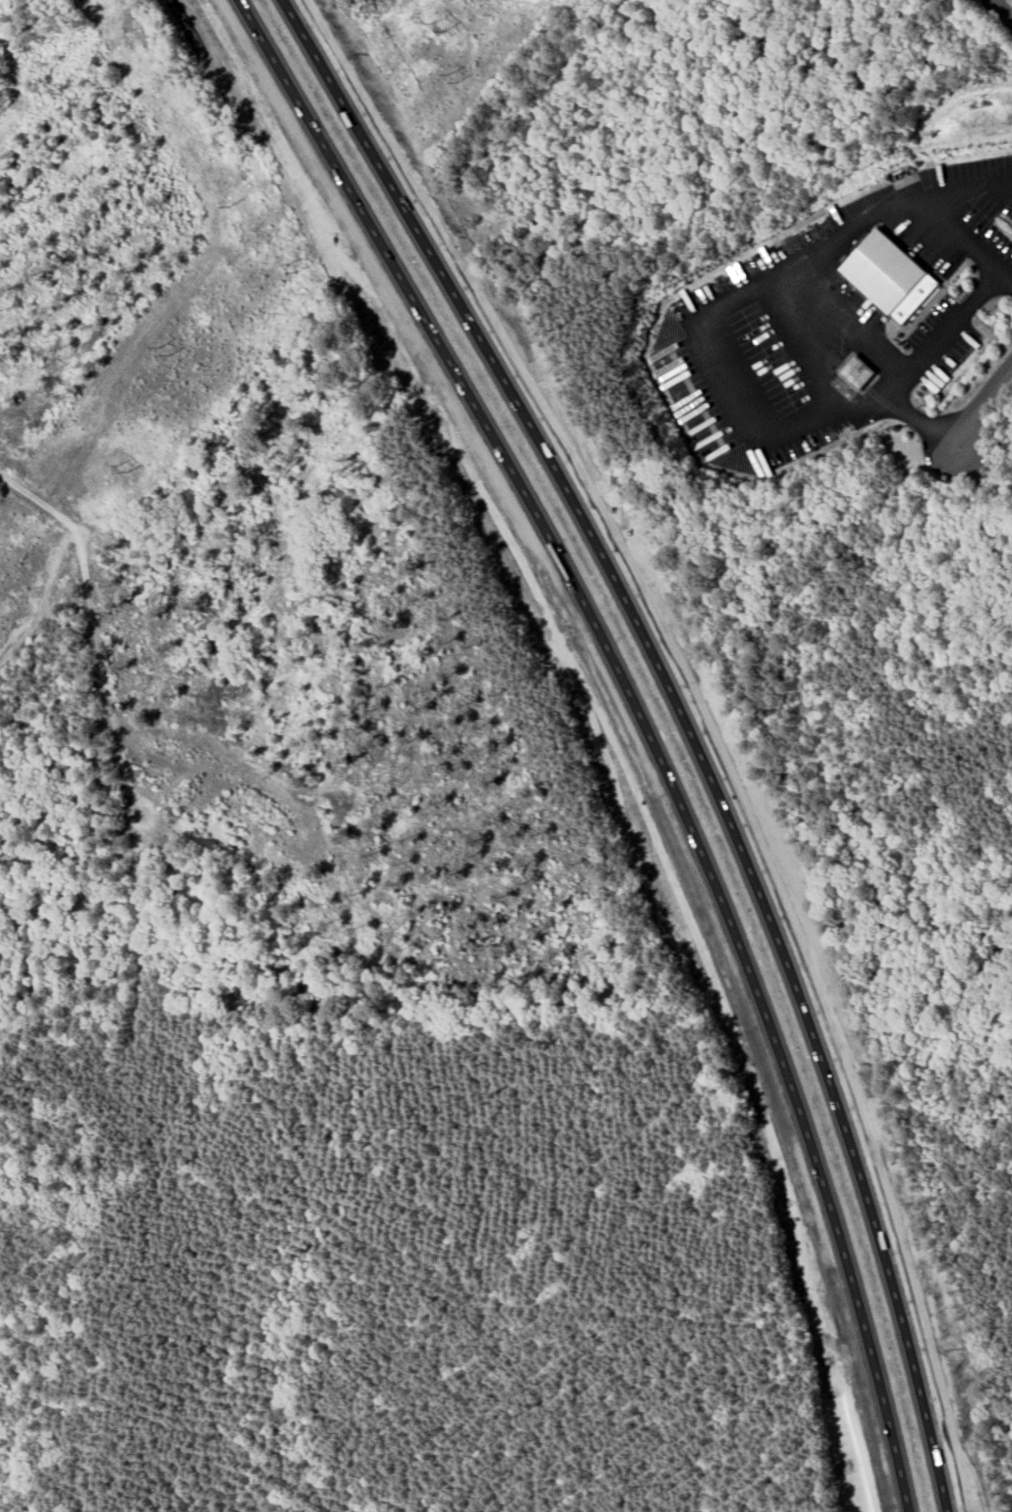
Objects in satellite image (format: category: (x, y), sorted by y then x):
road: (1002, 9)
power tower: (438, 19)
power tower: (450, 76)
power tower: (230, 207)
road: (961, 236)
building: (892, 278)
road: (703, 320)
road: (947, 329)
power tower: (161, 352)
building: (857, 372)
road: (986, 391)
power tower: (123, 465)
road: (641, 725)
road: (688, 725)

